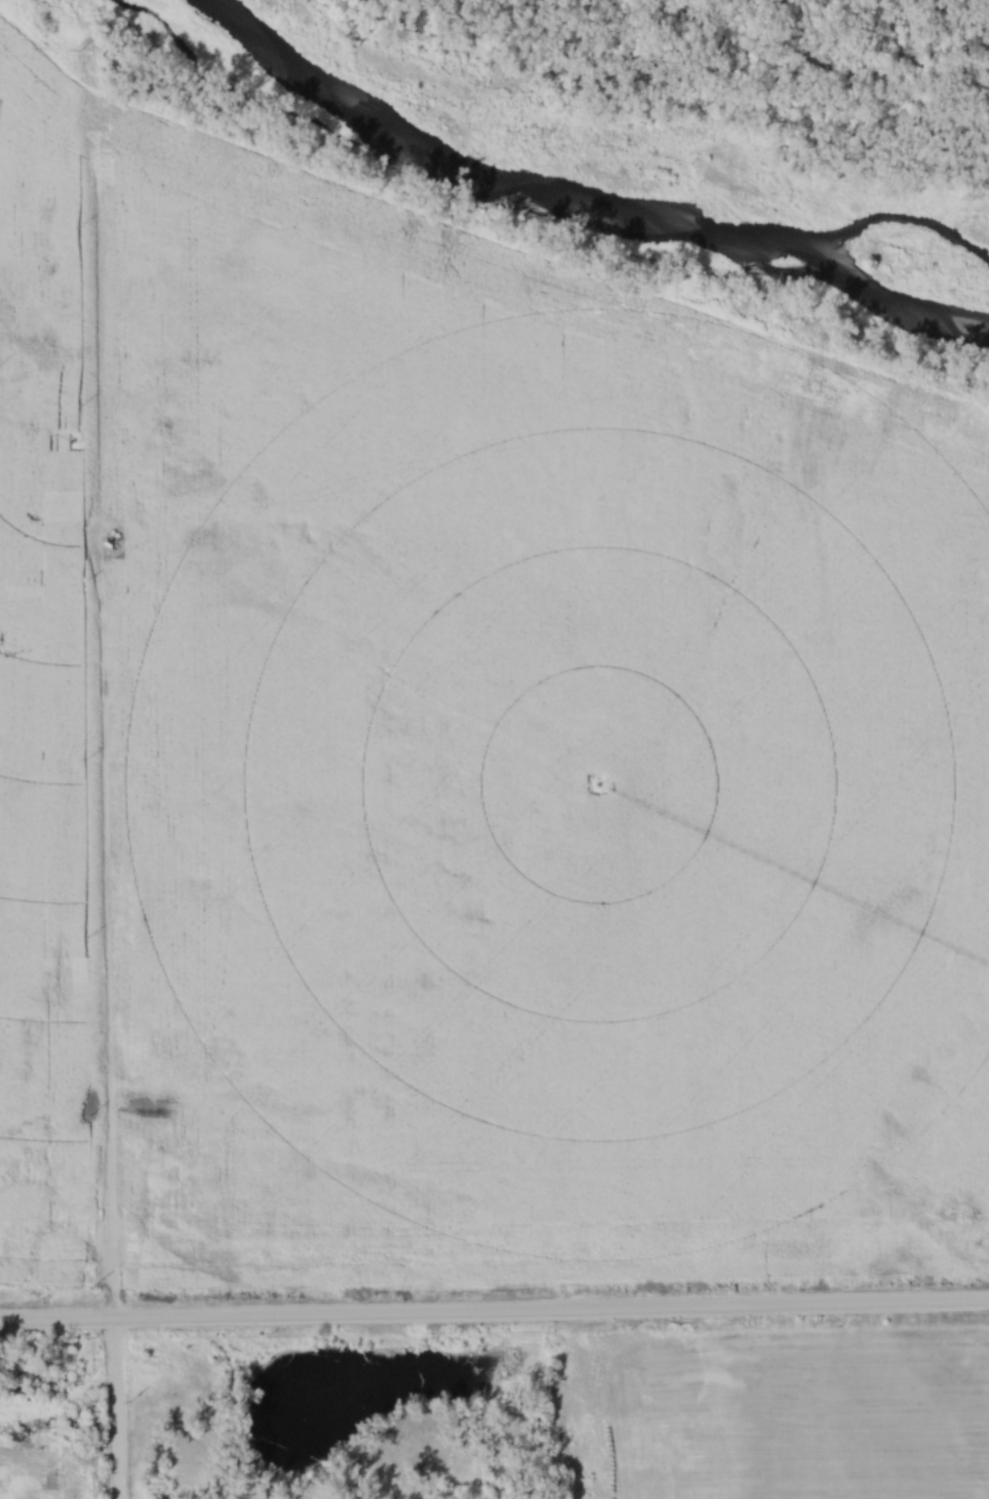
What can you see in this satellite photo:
river: (580, 205)
road: (494, 1313)
road: (61, 1406)
road: (112, 1409)

